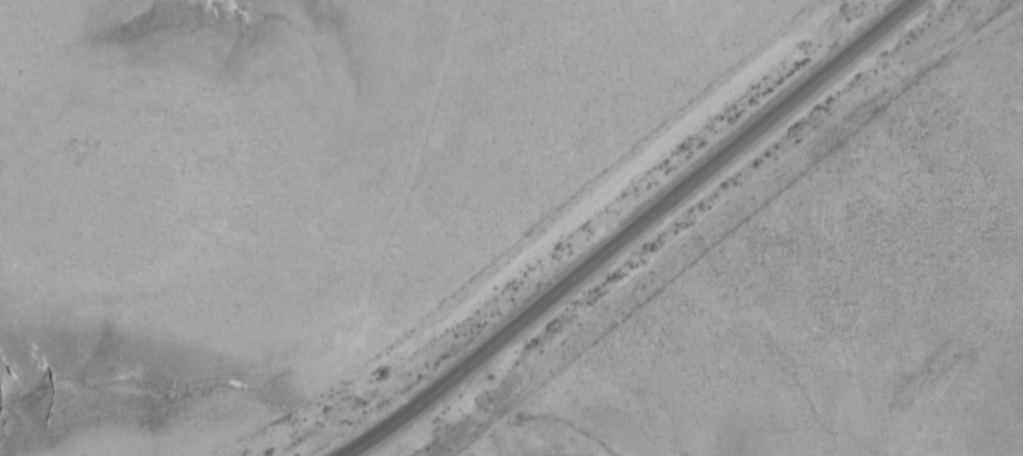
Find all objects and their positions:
road: (776, 206)
road: (644, 230)

